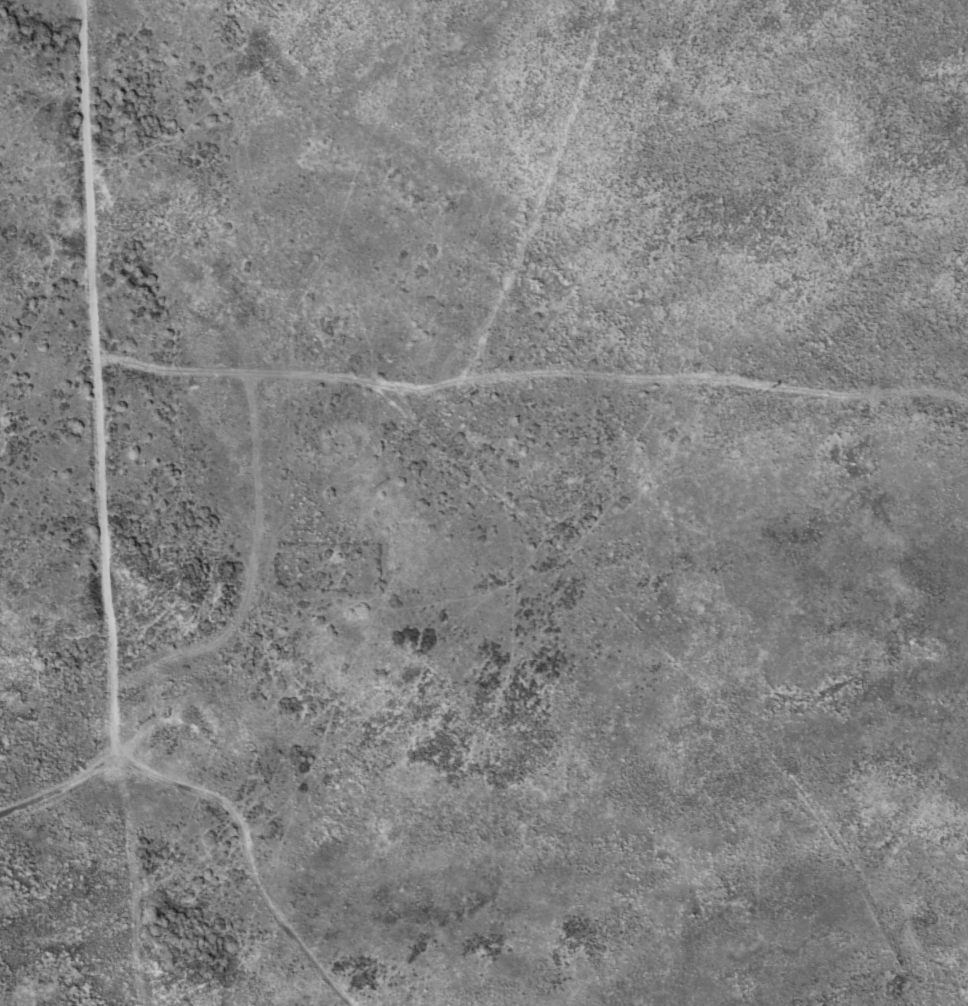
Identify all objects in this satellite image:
road: (223, 802)

